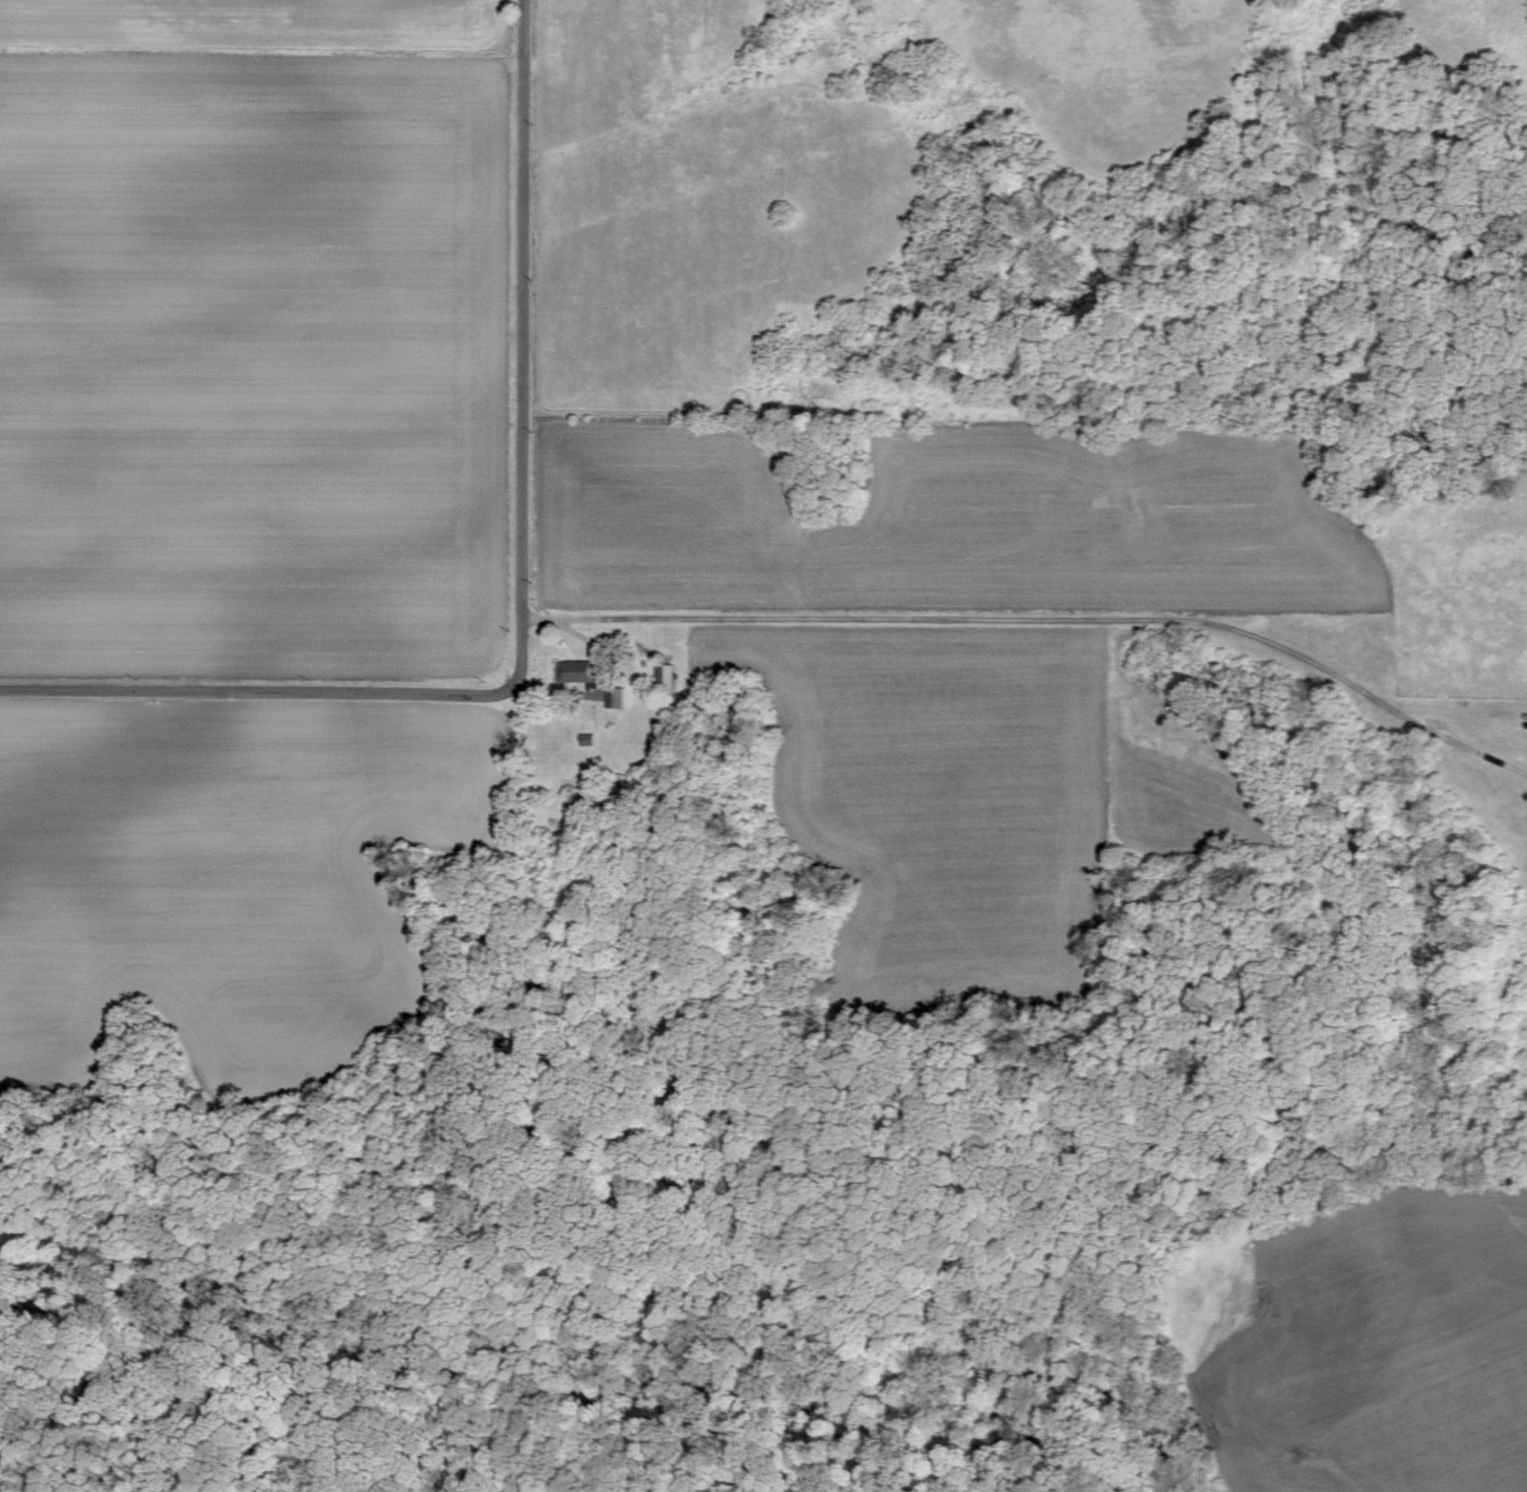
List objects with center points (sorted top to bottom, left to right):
road: (523, 343)
building: (581, 675)
building: (665, 677)
road: (257, 693)
building: (615, 698)

